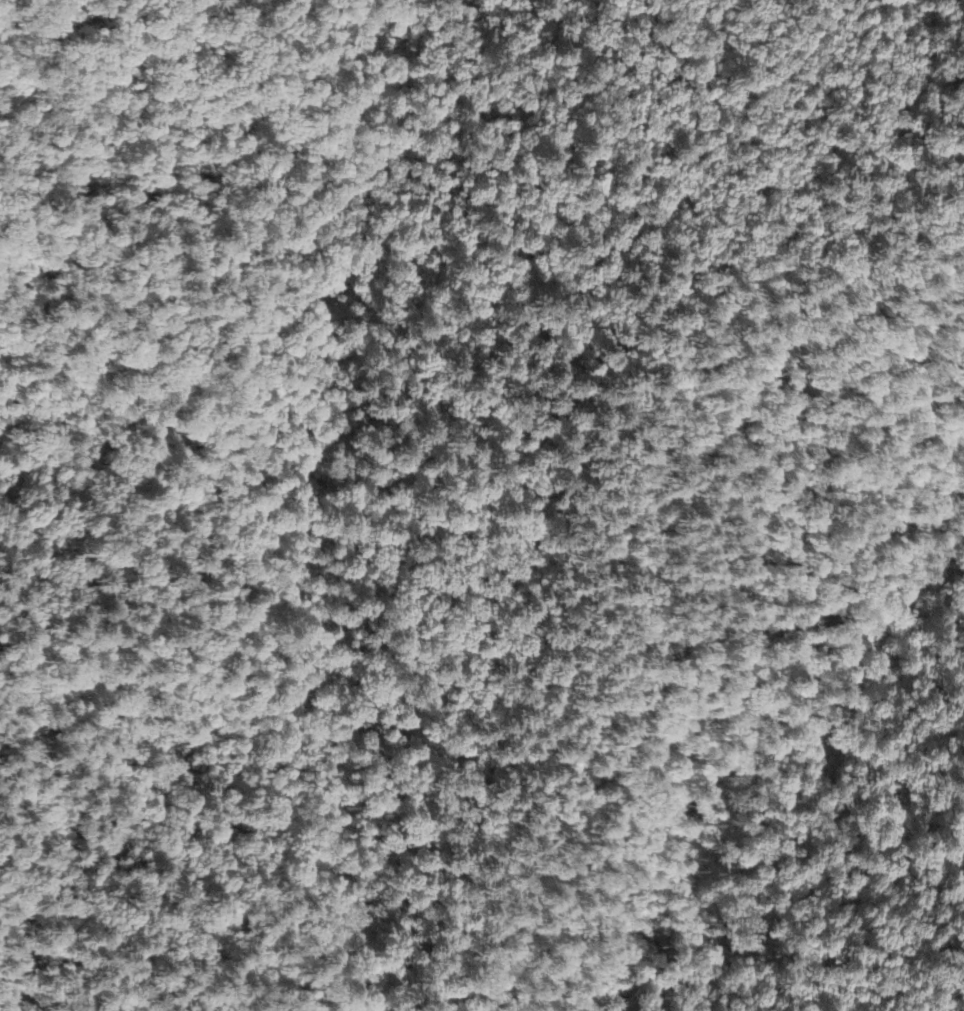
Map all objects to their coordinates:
road: (310, 757)
road: (642, 964)

